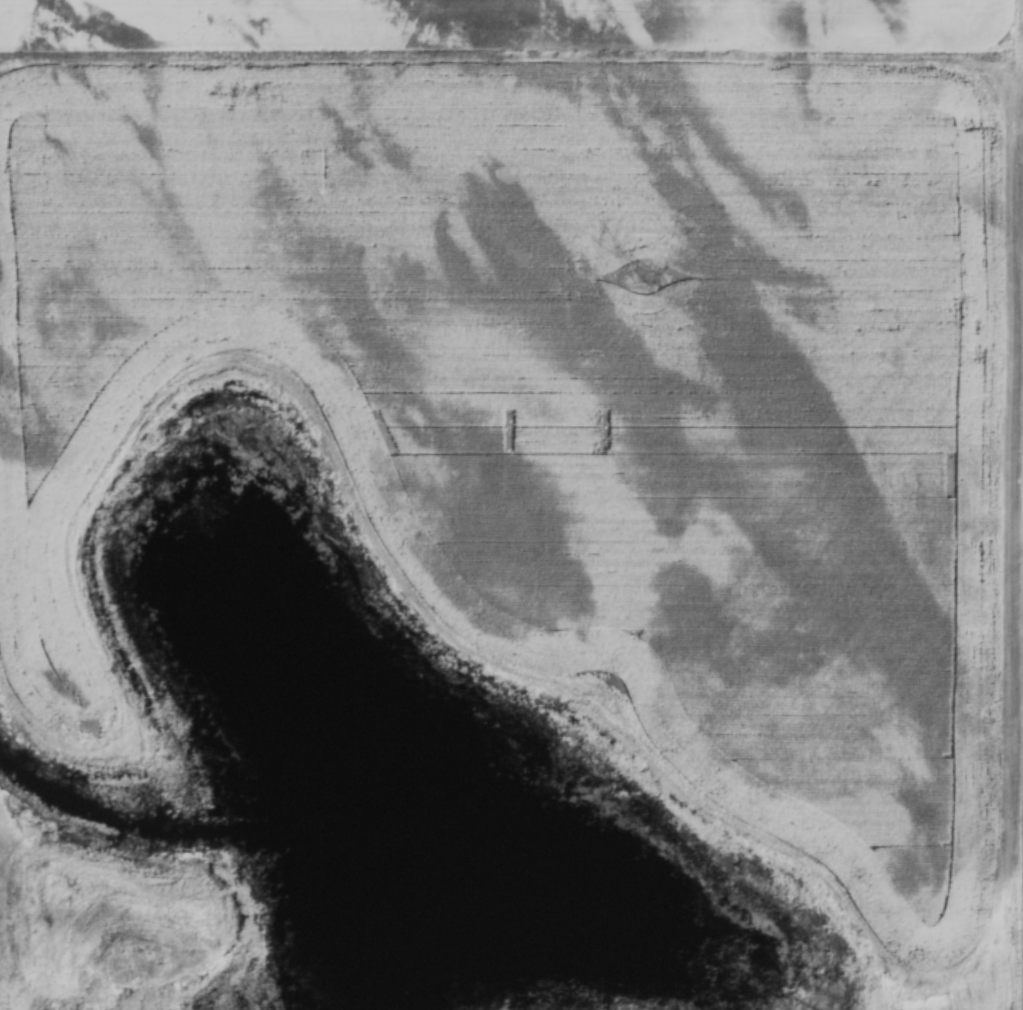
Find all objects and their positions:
power tower: (639, 262)

